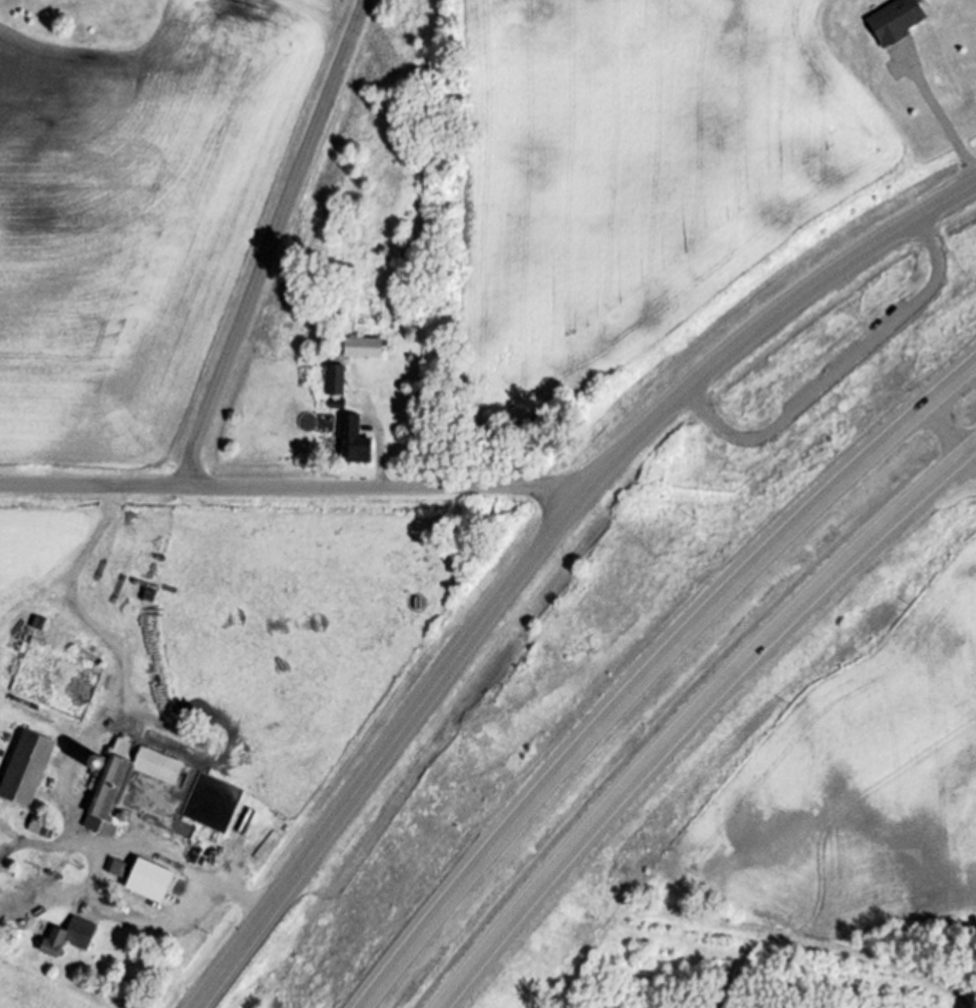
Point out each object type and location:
building: (896, 19)
road: (943, 117)
road: (274, 242)
building: (365, 346)
road: (845, 370)
building: (336, 378)
building: (338, 401)
road: (952, 432)
building: (355, 439)
road: (290, 488)
road: (540, 550)
road: (653, 669)
road: (120, 687)
road: (695, 716)
building: (28, 768)
building: (123, 781)
building: (42, 827)
building: (116, 866)
building: (151, 879)
road: (188, 914)
building: (70, 936)

